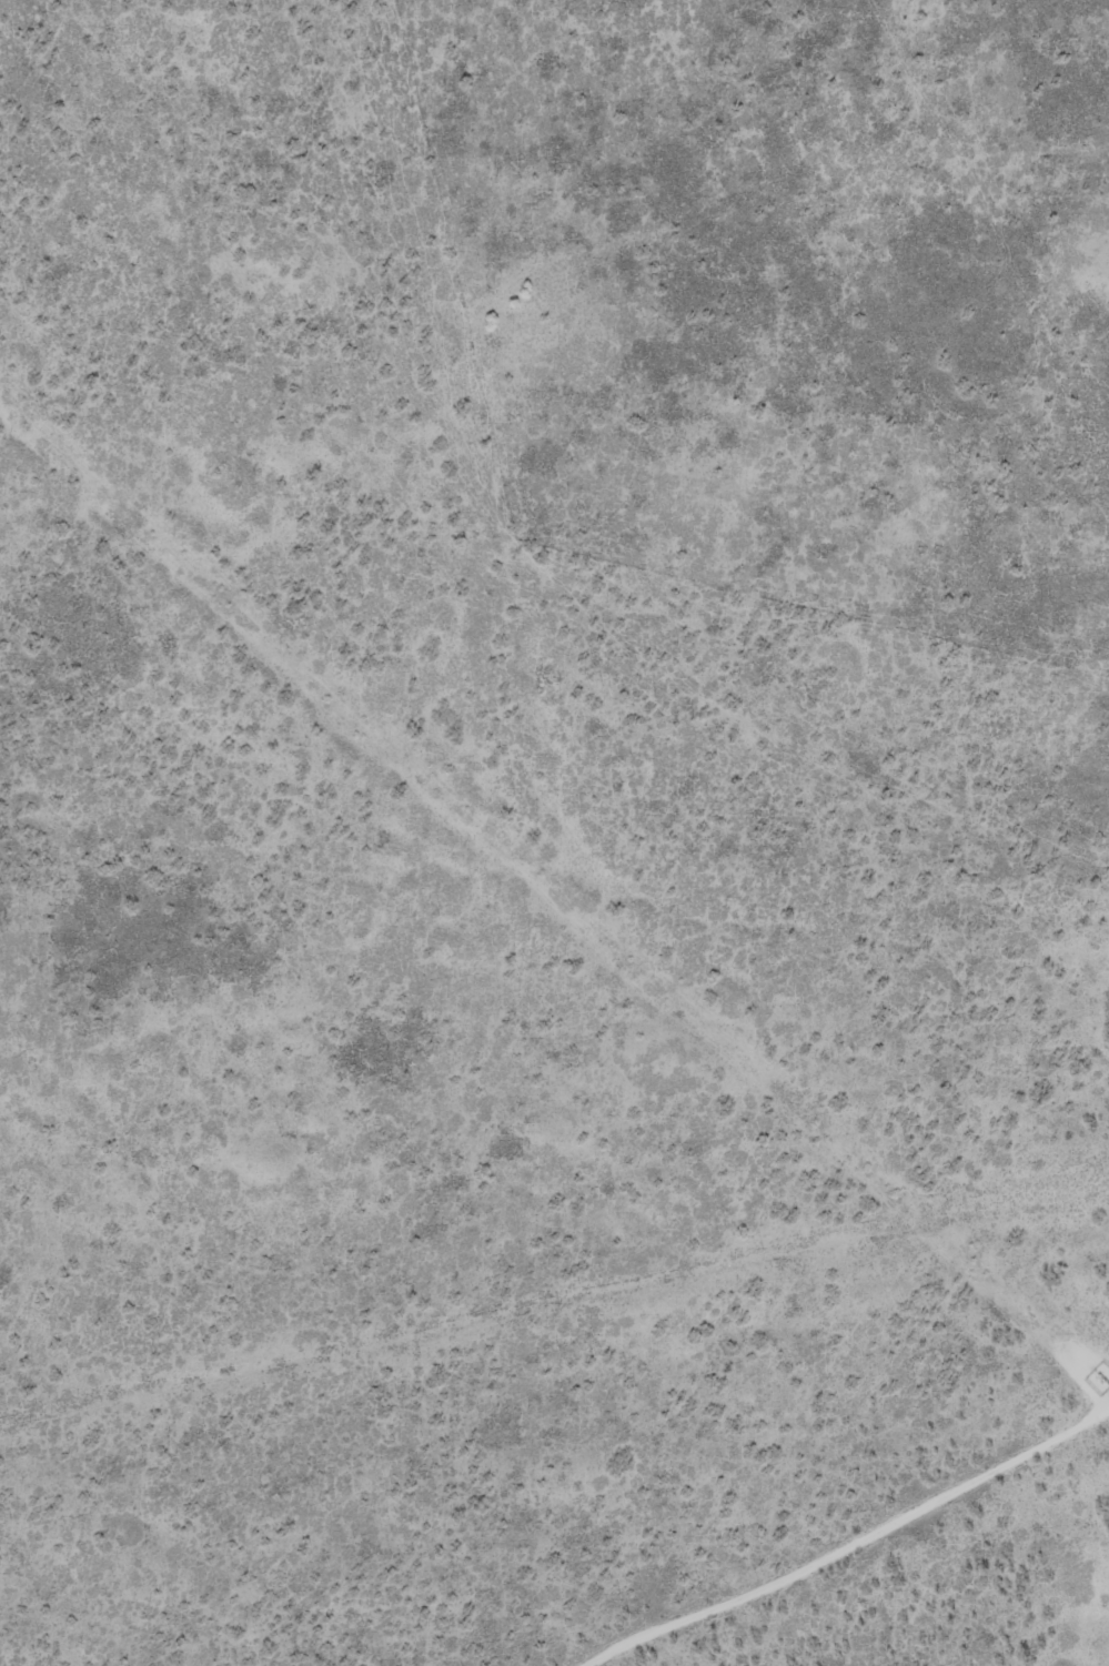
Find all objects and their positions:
road: (855, 1535)

